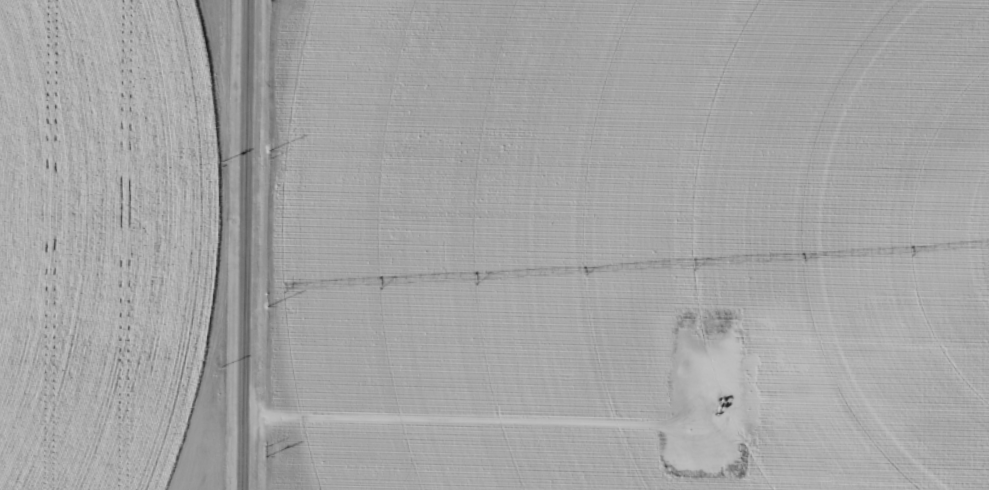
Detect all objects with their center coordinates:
road: (246, 245)

